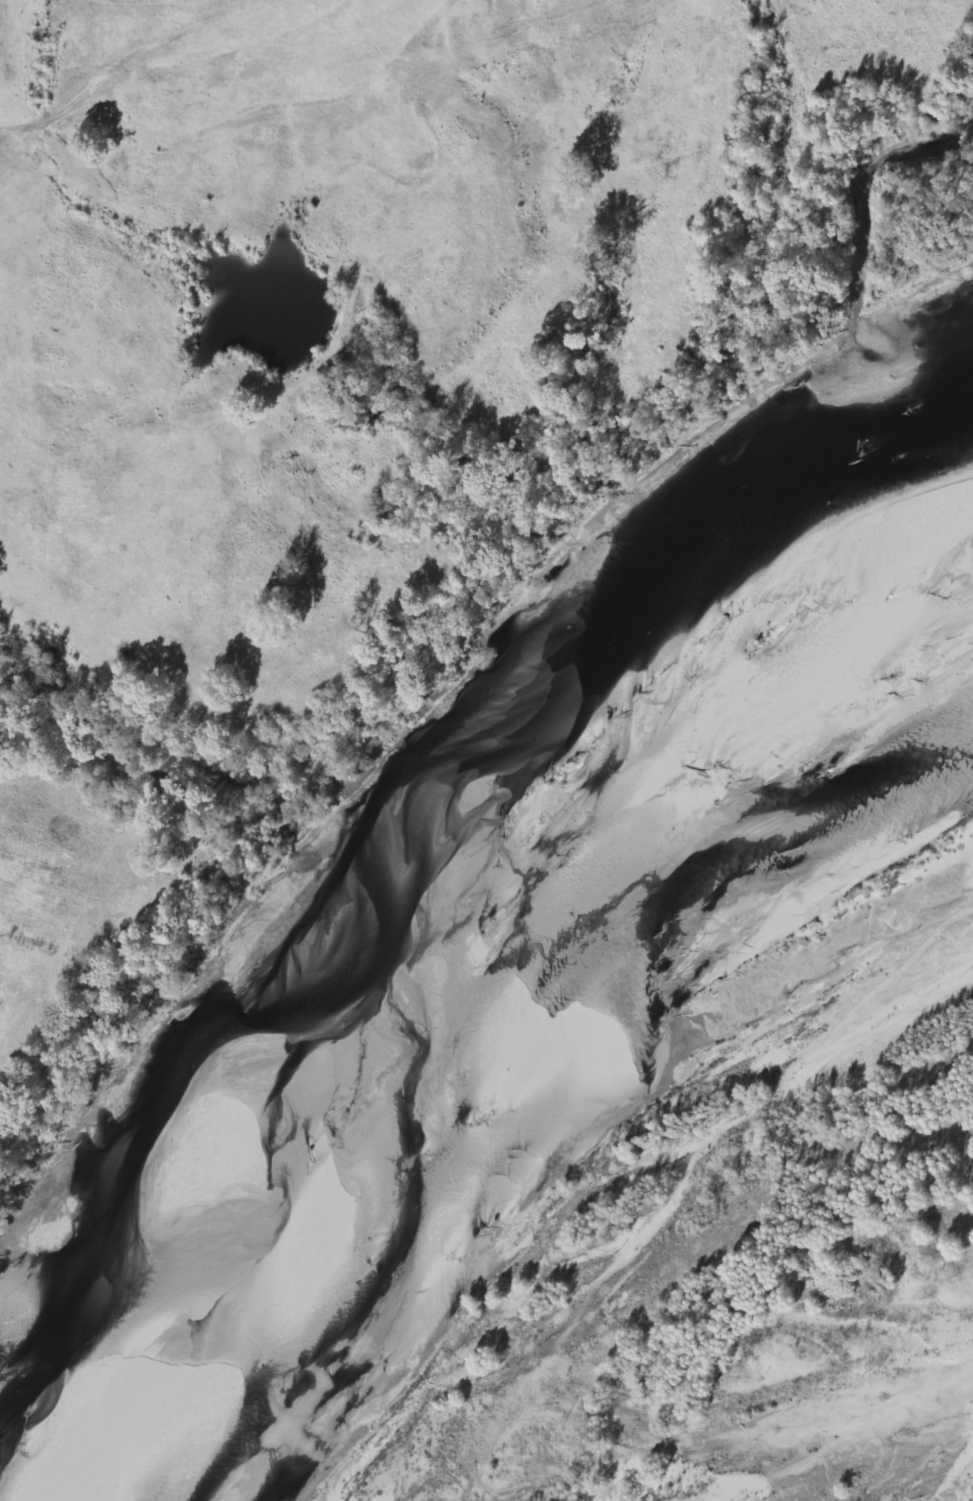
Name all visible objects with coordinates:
river: (429, 877)

